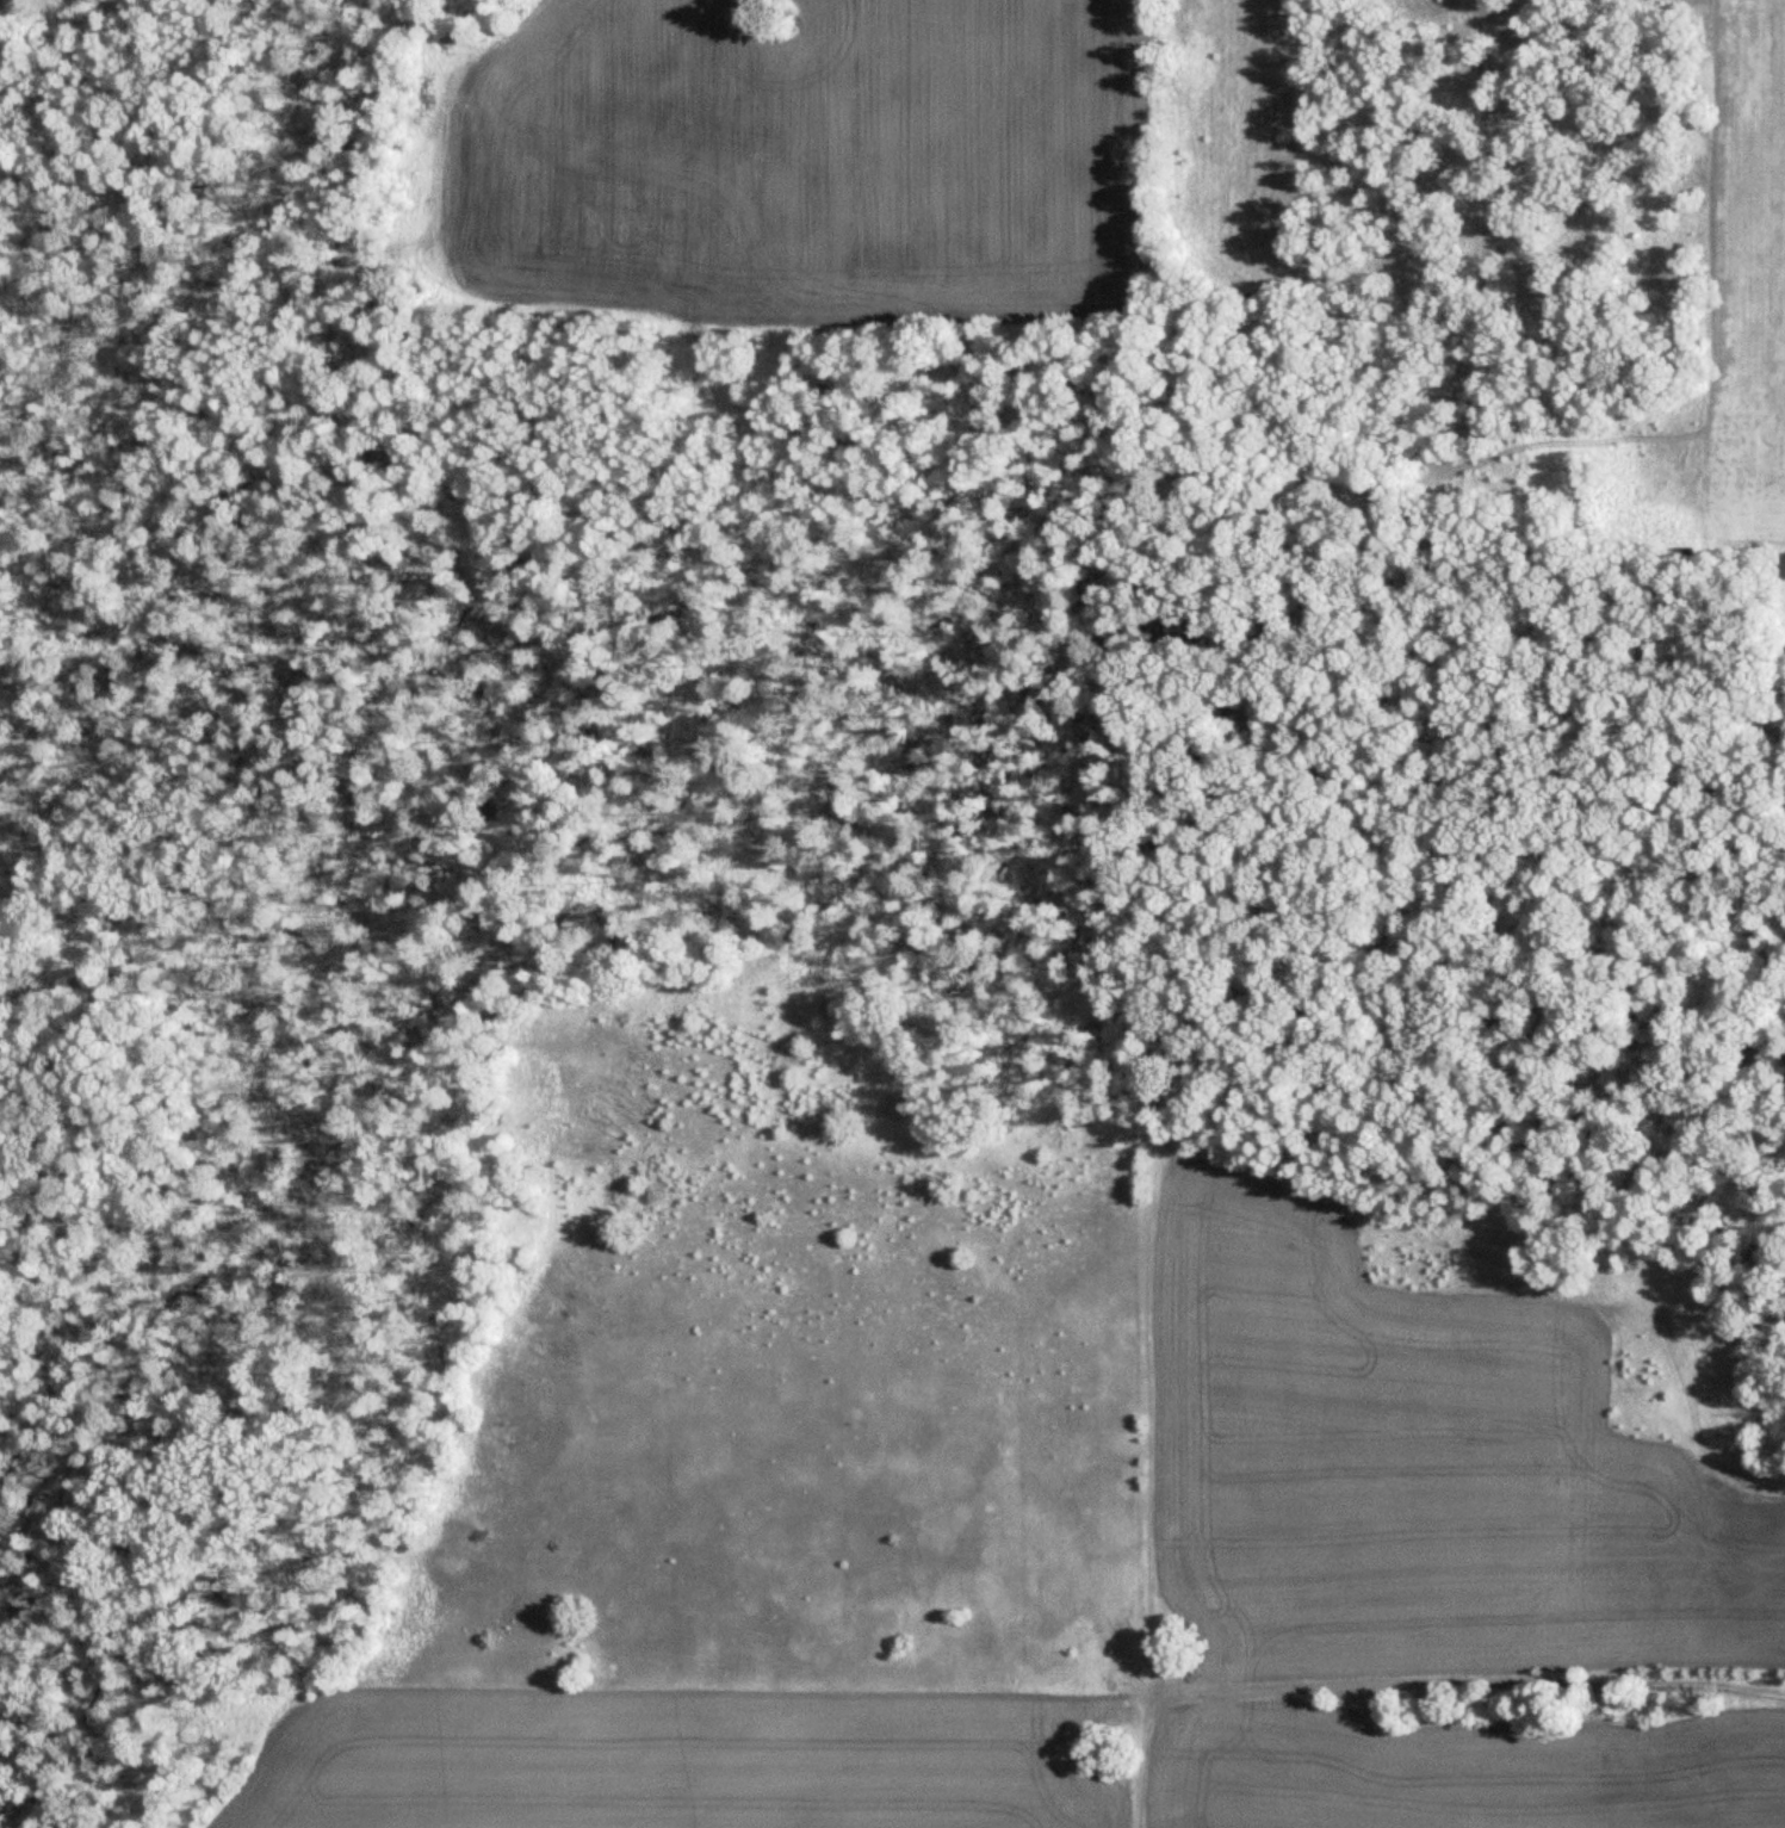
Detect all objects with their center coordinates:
road: (1766, 1691)

